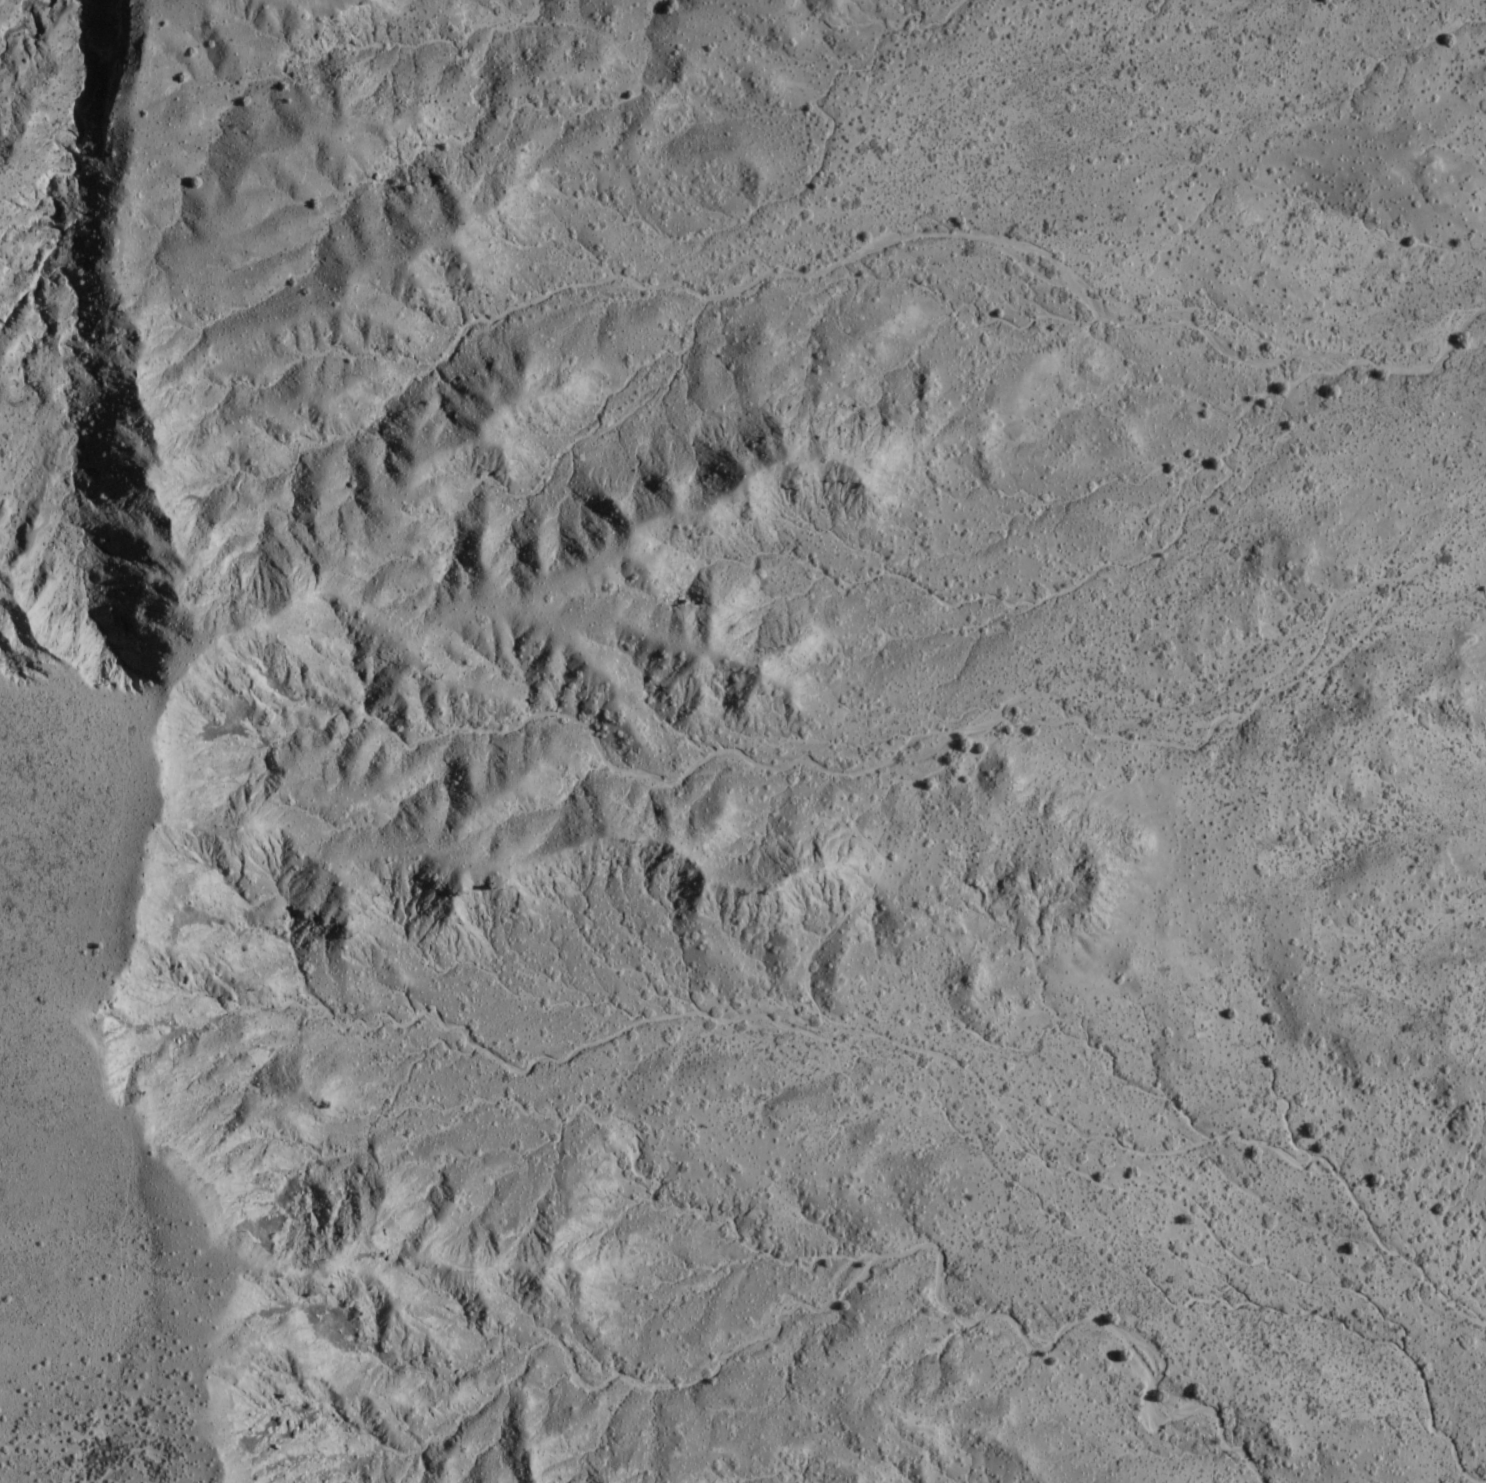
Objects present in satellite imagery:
road: (670, 86)
road: (805, 274)
road: (872, 541)
road: (177, 673)
road: (84, 1025)
road: (827, 1145)

